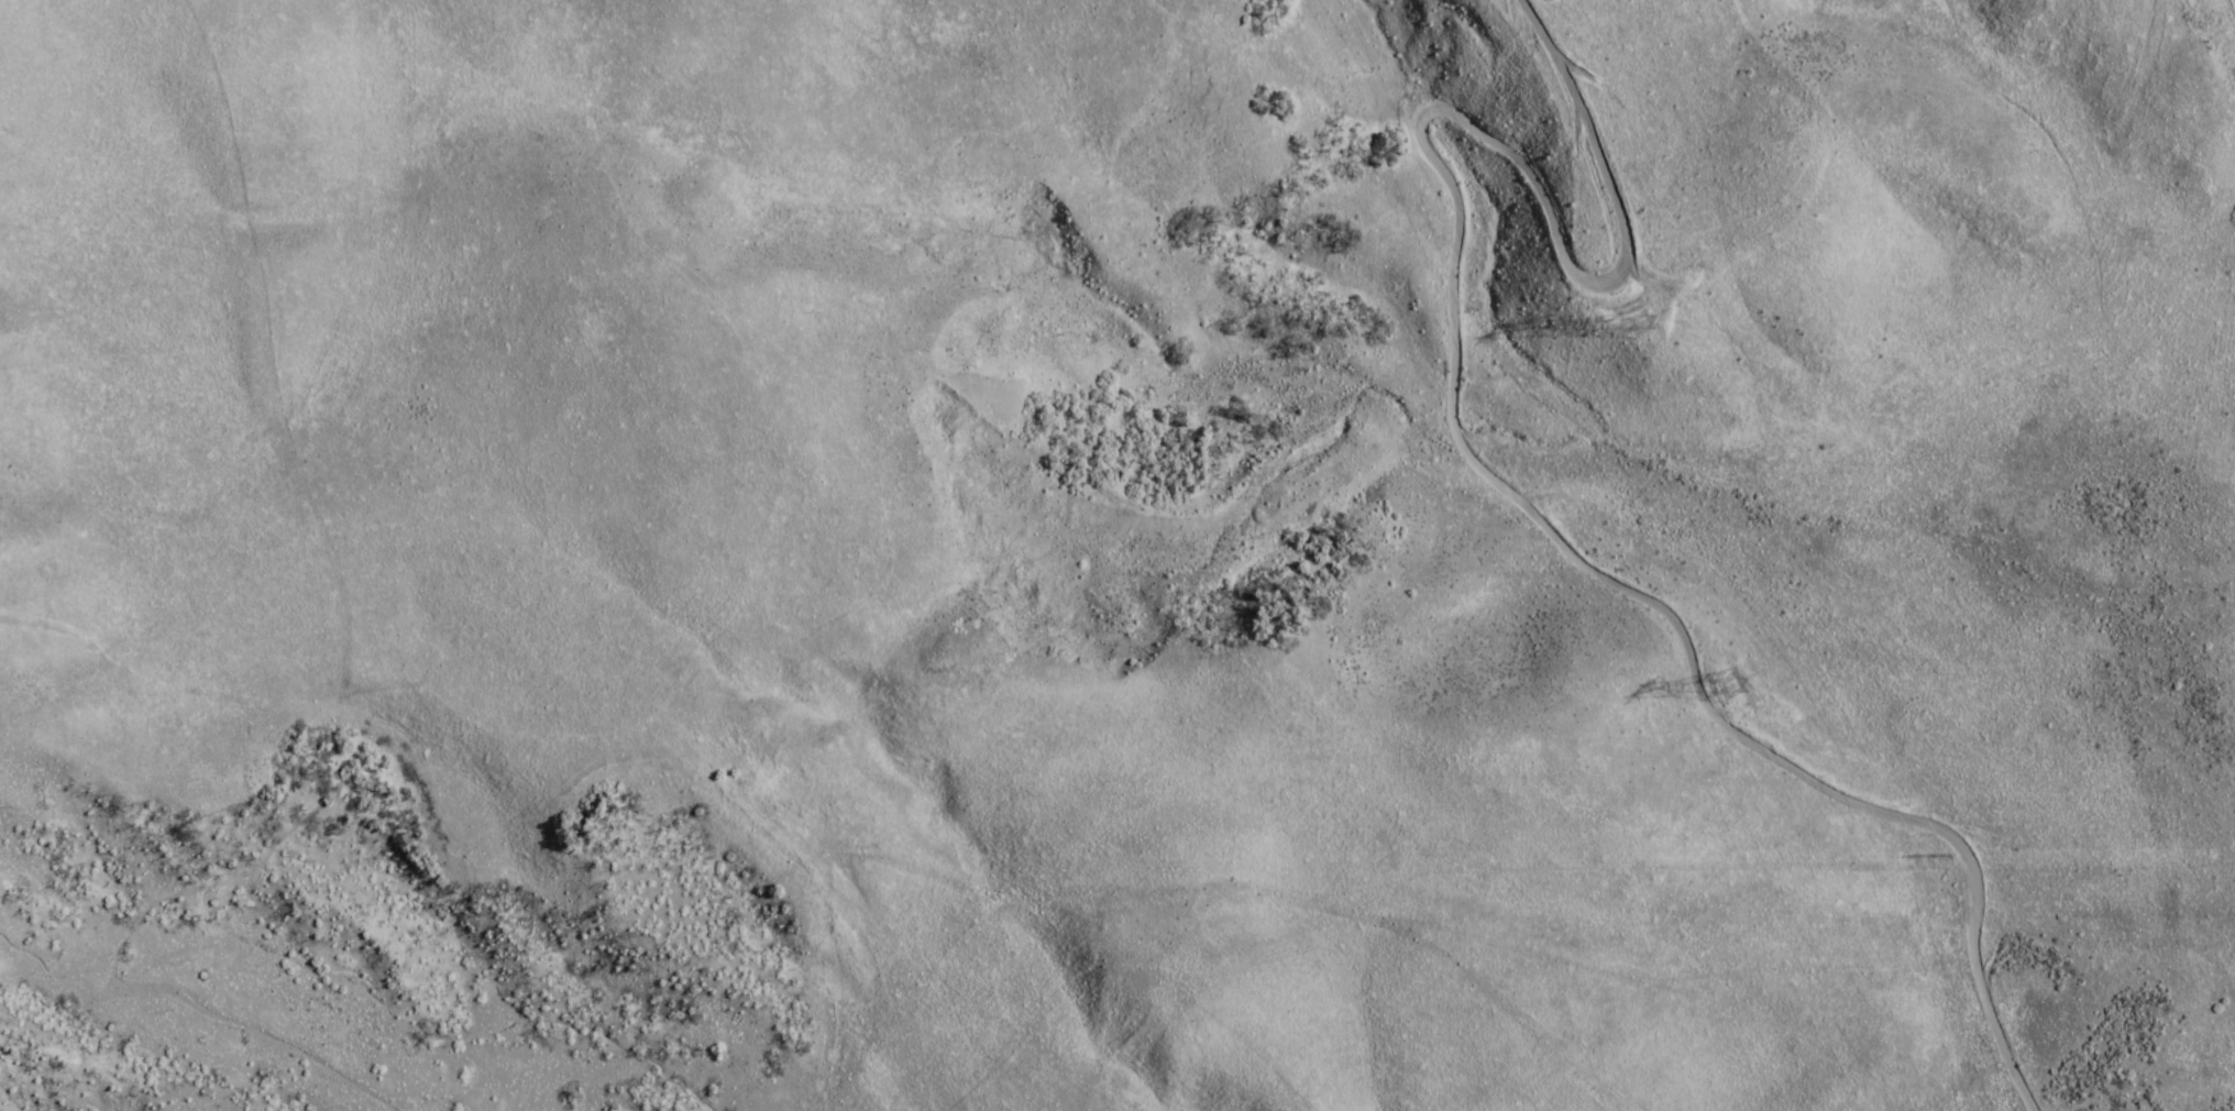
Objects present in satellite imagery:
power tower: (1642, 337)
road: (1465, 443)
power tower: (1721, 697)

